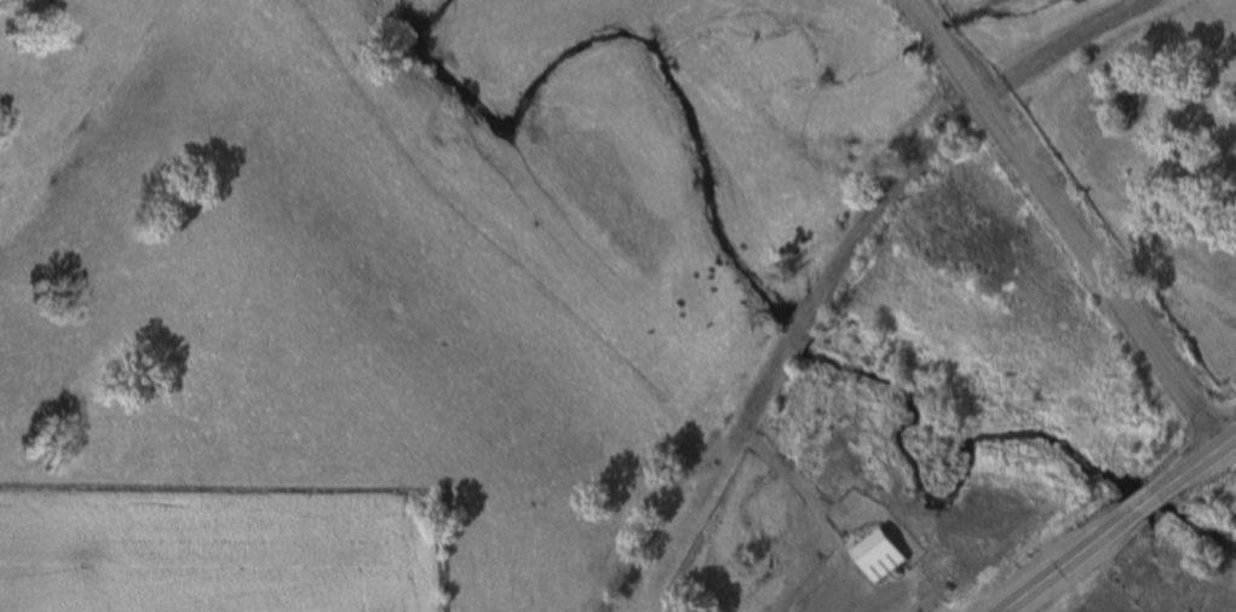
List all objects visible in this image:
road: (955, 120)
road: (1063, 224)
road: (803, 324)
road: (1196, 463)
road: (714, 478)
road: (1142, 506)
road: (816, 513)
building: (876, 558)
road: (1064, 565)

